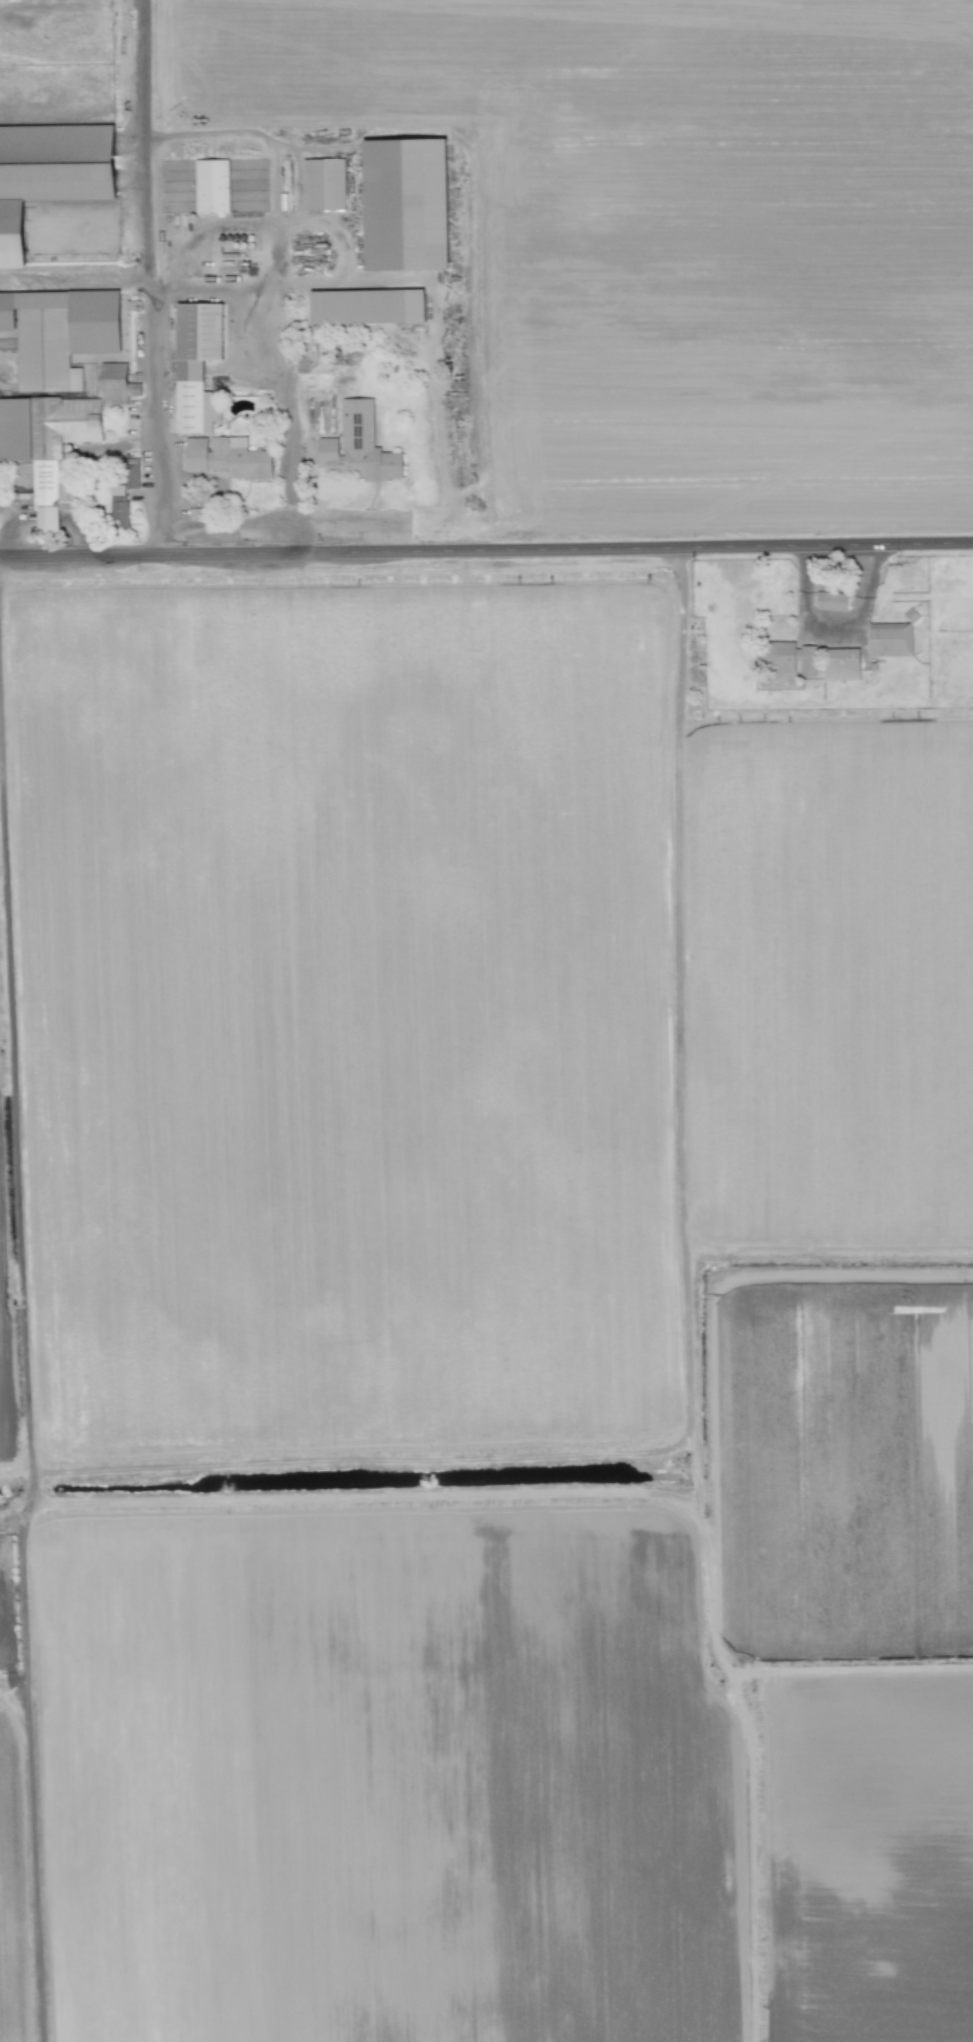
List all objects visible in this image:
building: (50, 174)
building: (323, 185)
building: (211, 187)
building: (406, 205)
road: (143, 278)
building: (366, 307)
building: (59, 334)
building: (196, 365)
road: (267, 378)
building: (55, 437)
building: (359, 446)
building: (227, 458)
building: (122, 495)
road: (222, 526)
road: (486, 551)
road: (2, 570)
building: (831, 601)
building: (892, 639)
building: (789, 657)
building: (841, 664)
road: (24, 1357)
road: (7, 1612)

